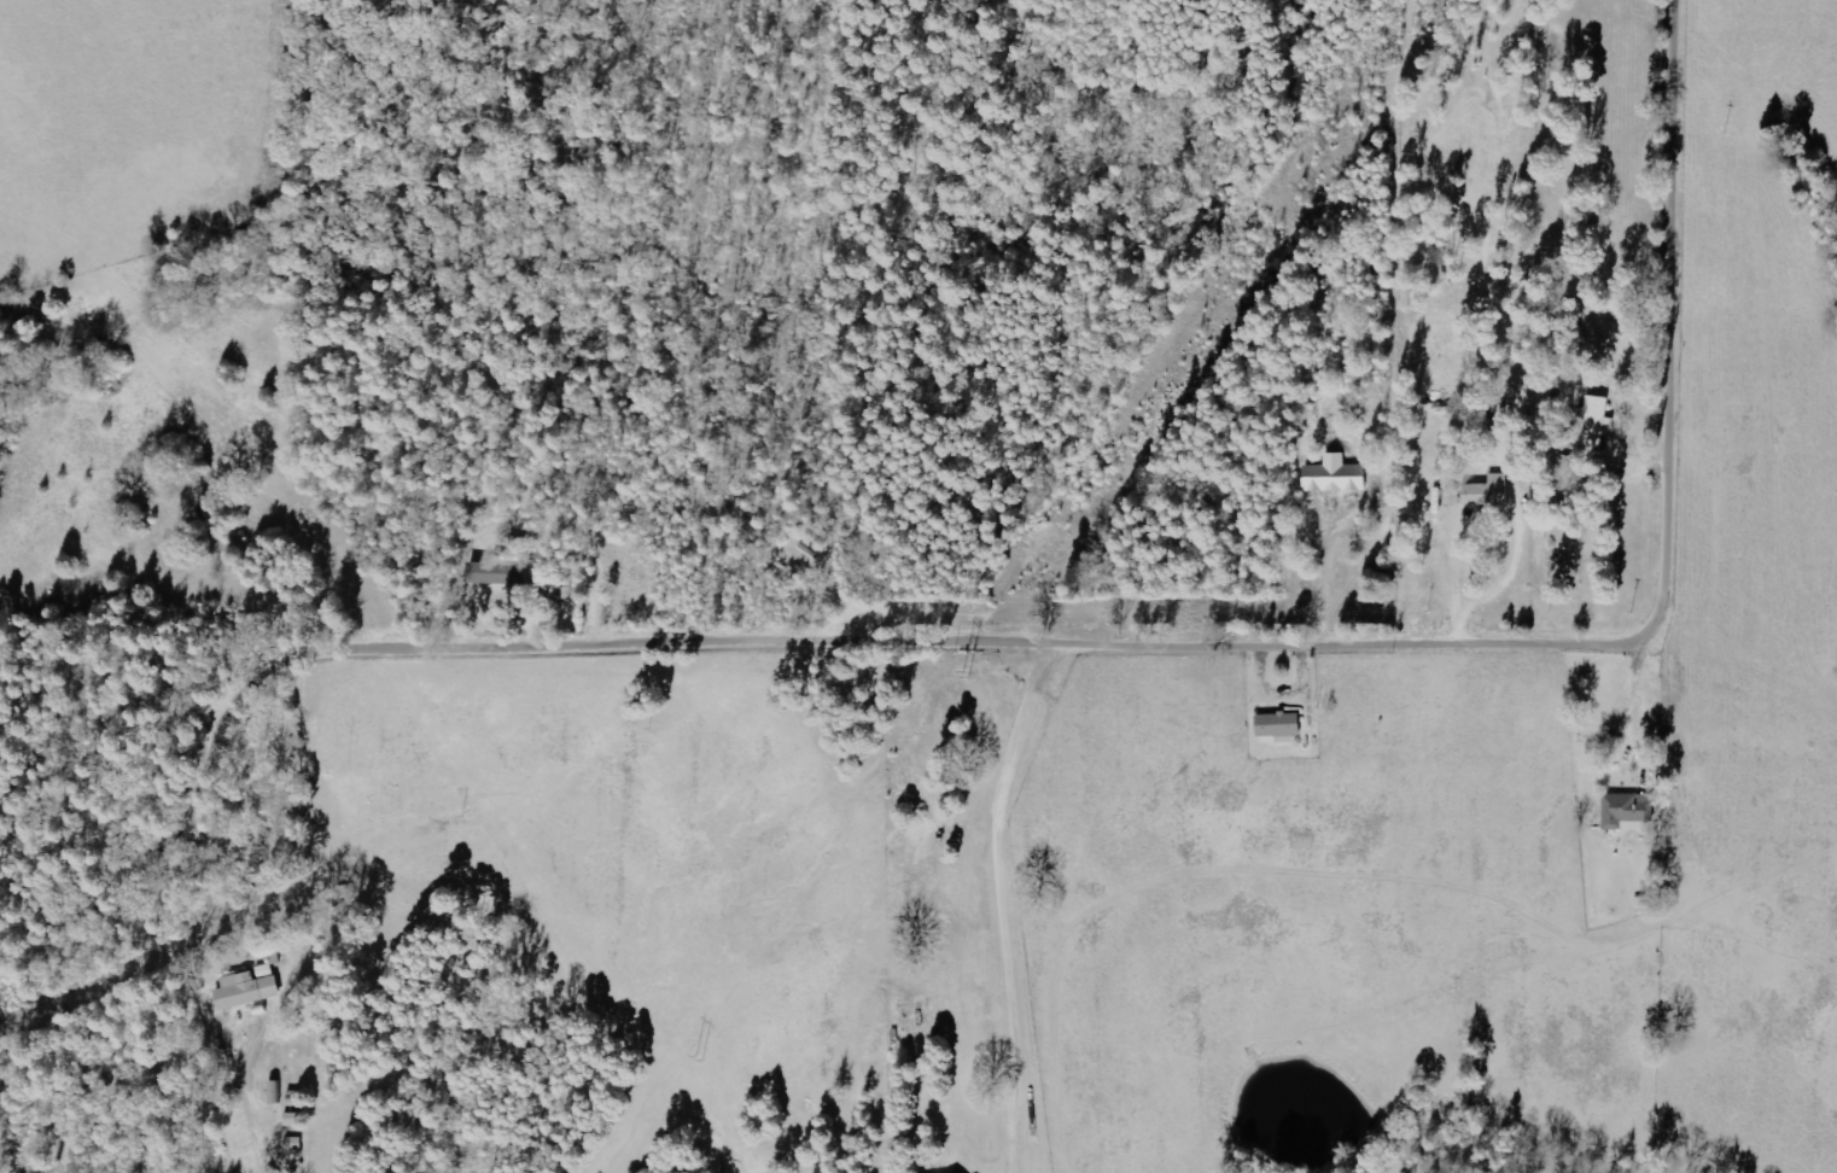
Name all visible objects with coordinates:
power tower: (1190, 338)
building: (1599, 422)
building: (1339, 475)
building: (1492, 492)
building: (1454, 496)
building: (496, 572)
road: (995, 646)
power tower: (962, 681)
building: (1629, 812)
building: (251, 988)
power tower: (698, 1060)

